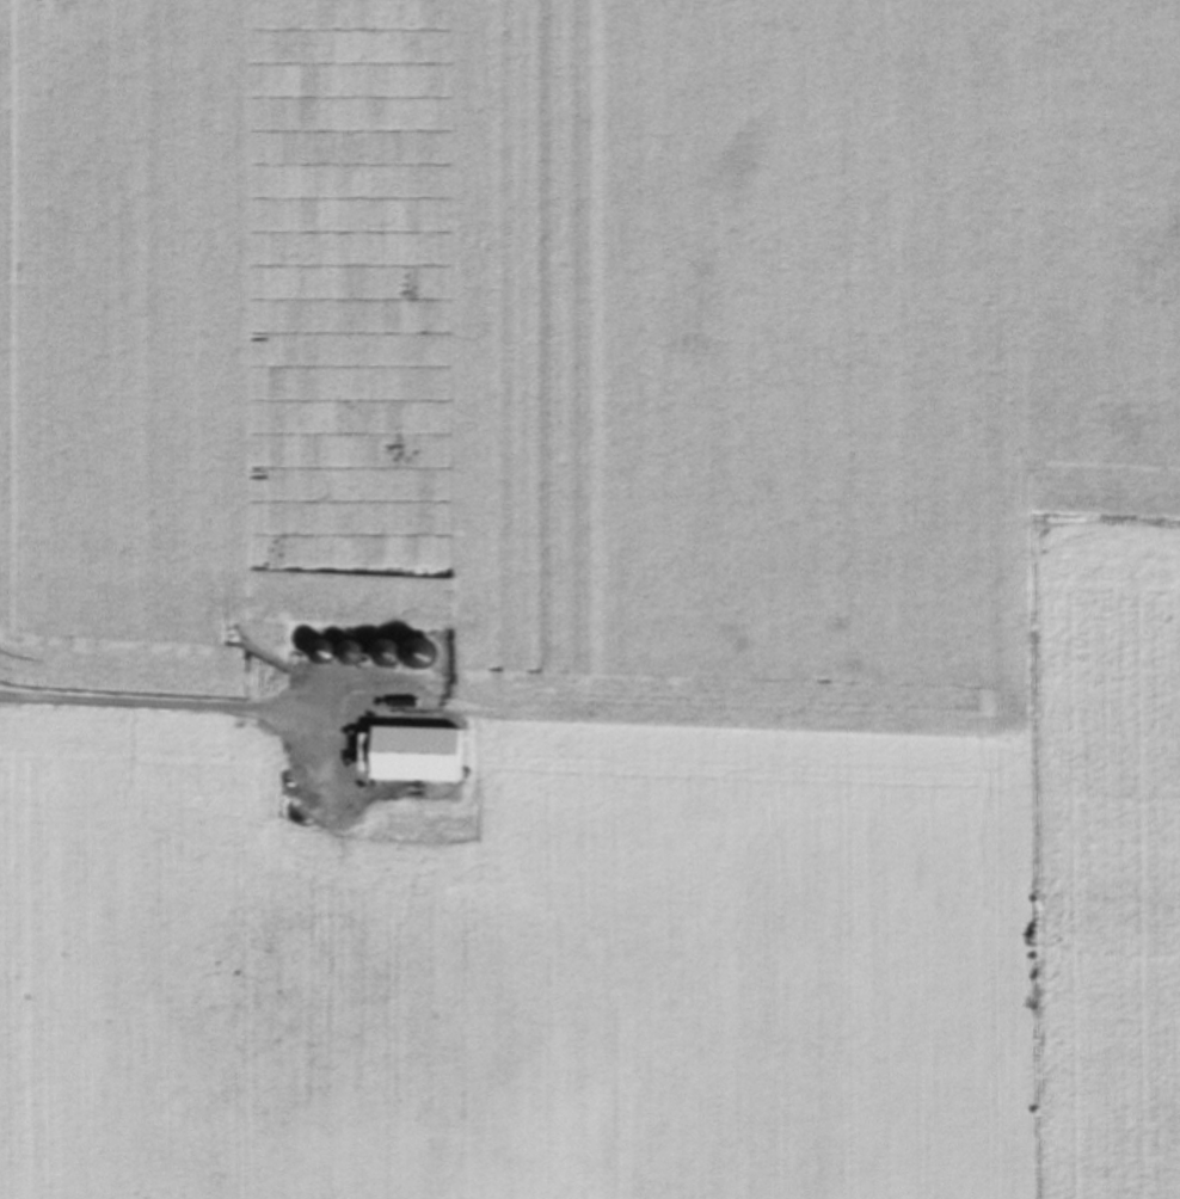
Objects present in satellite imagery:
building: (333, 656)
building: (362, 657)
building: (400, 658)
road: (152, 697)
building: (425, 760)

